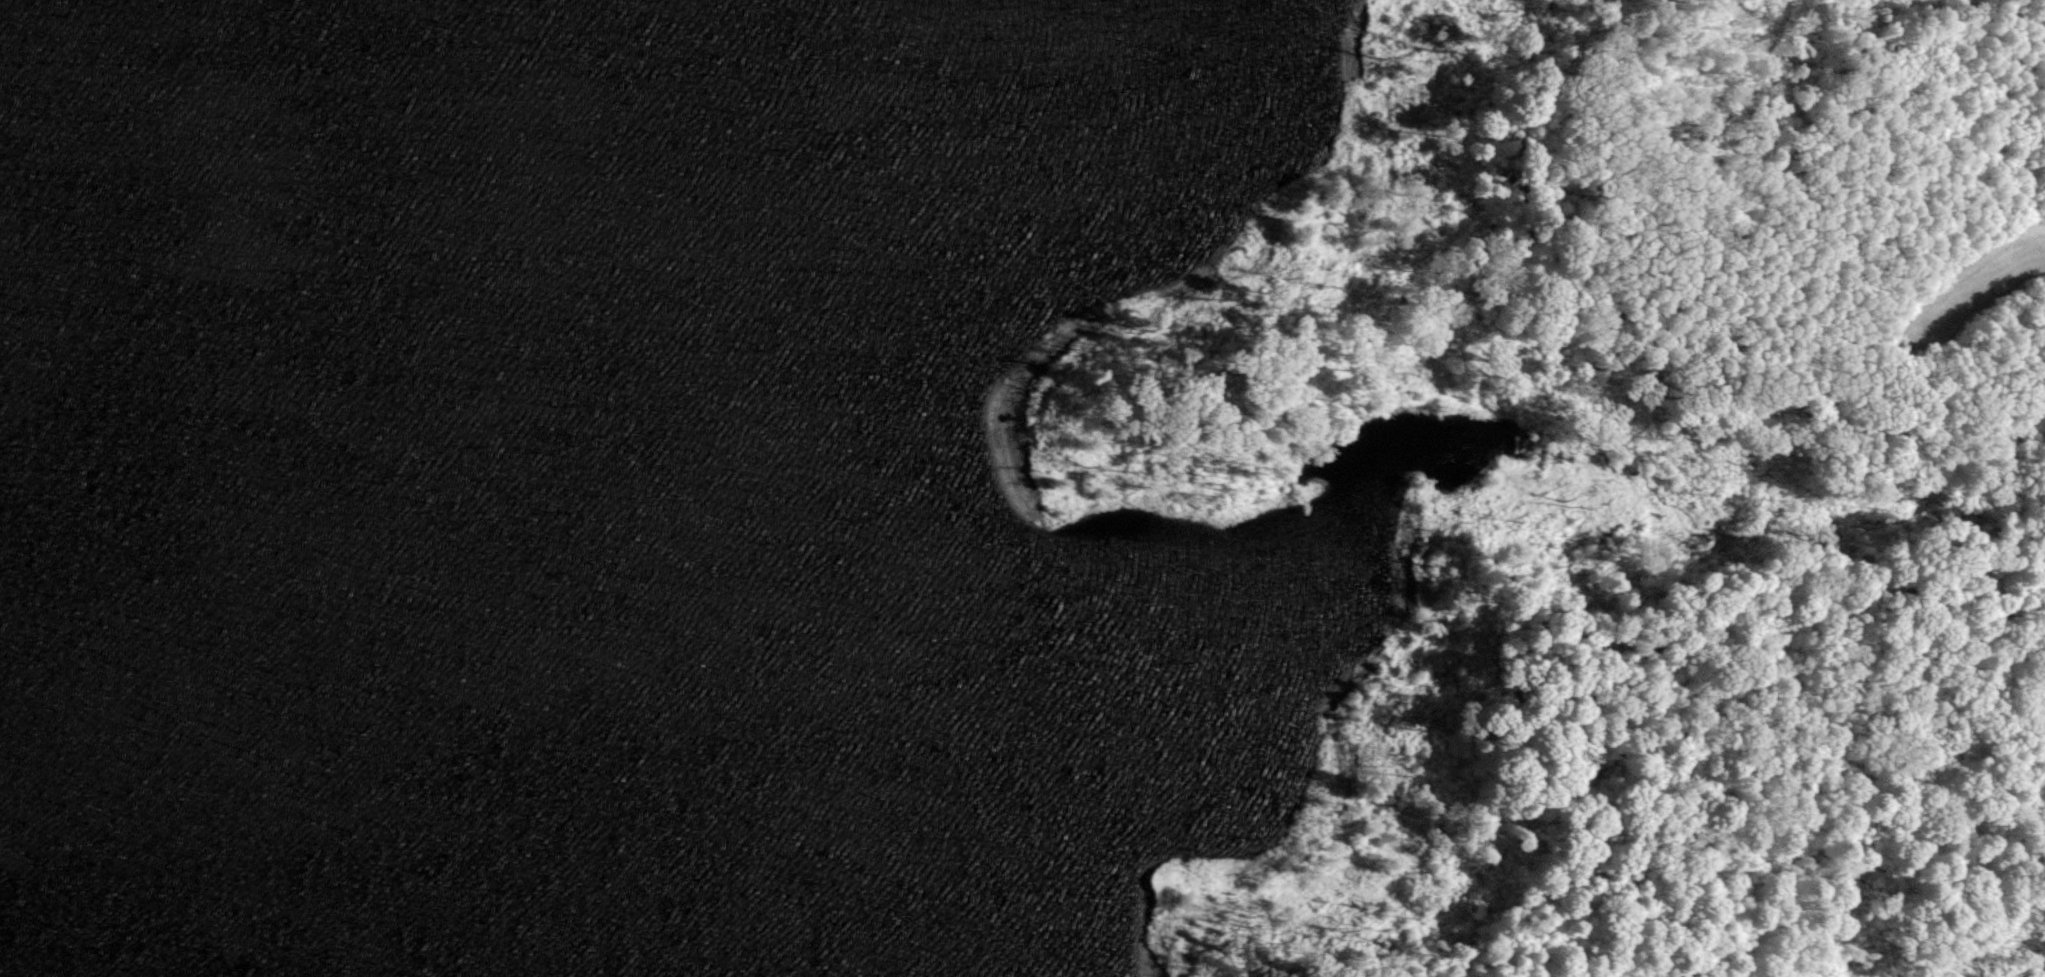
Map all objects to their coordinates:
river: (637, 483)

